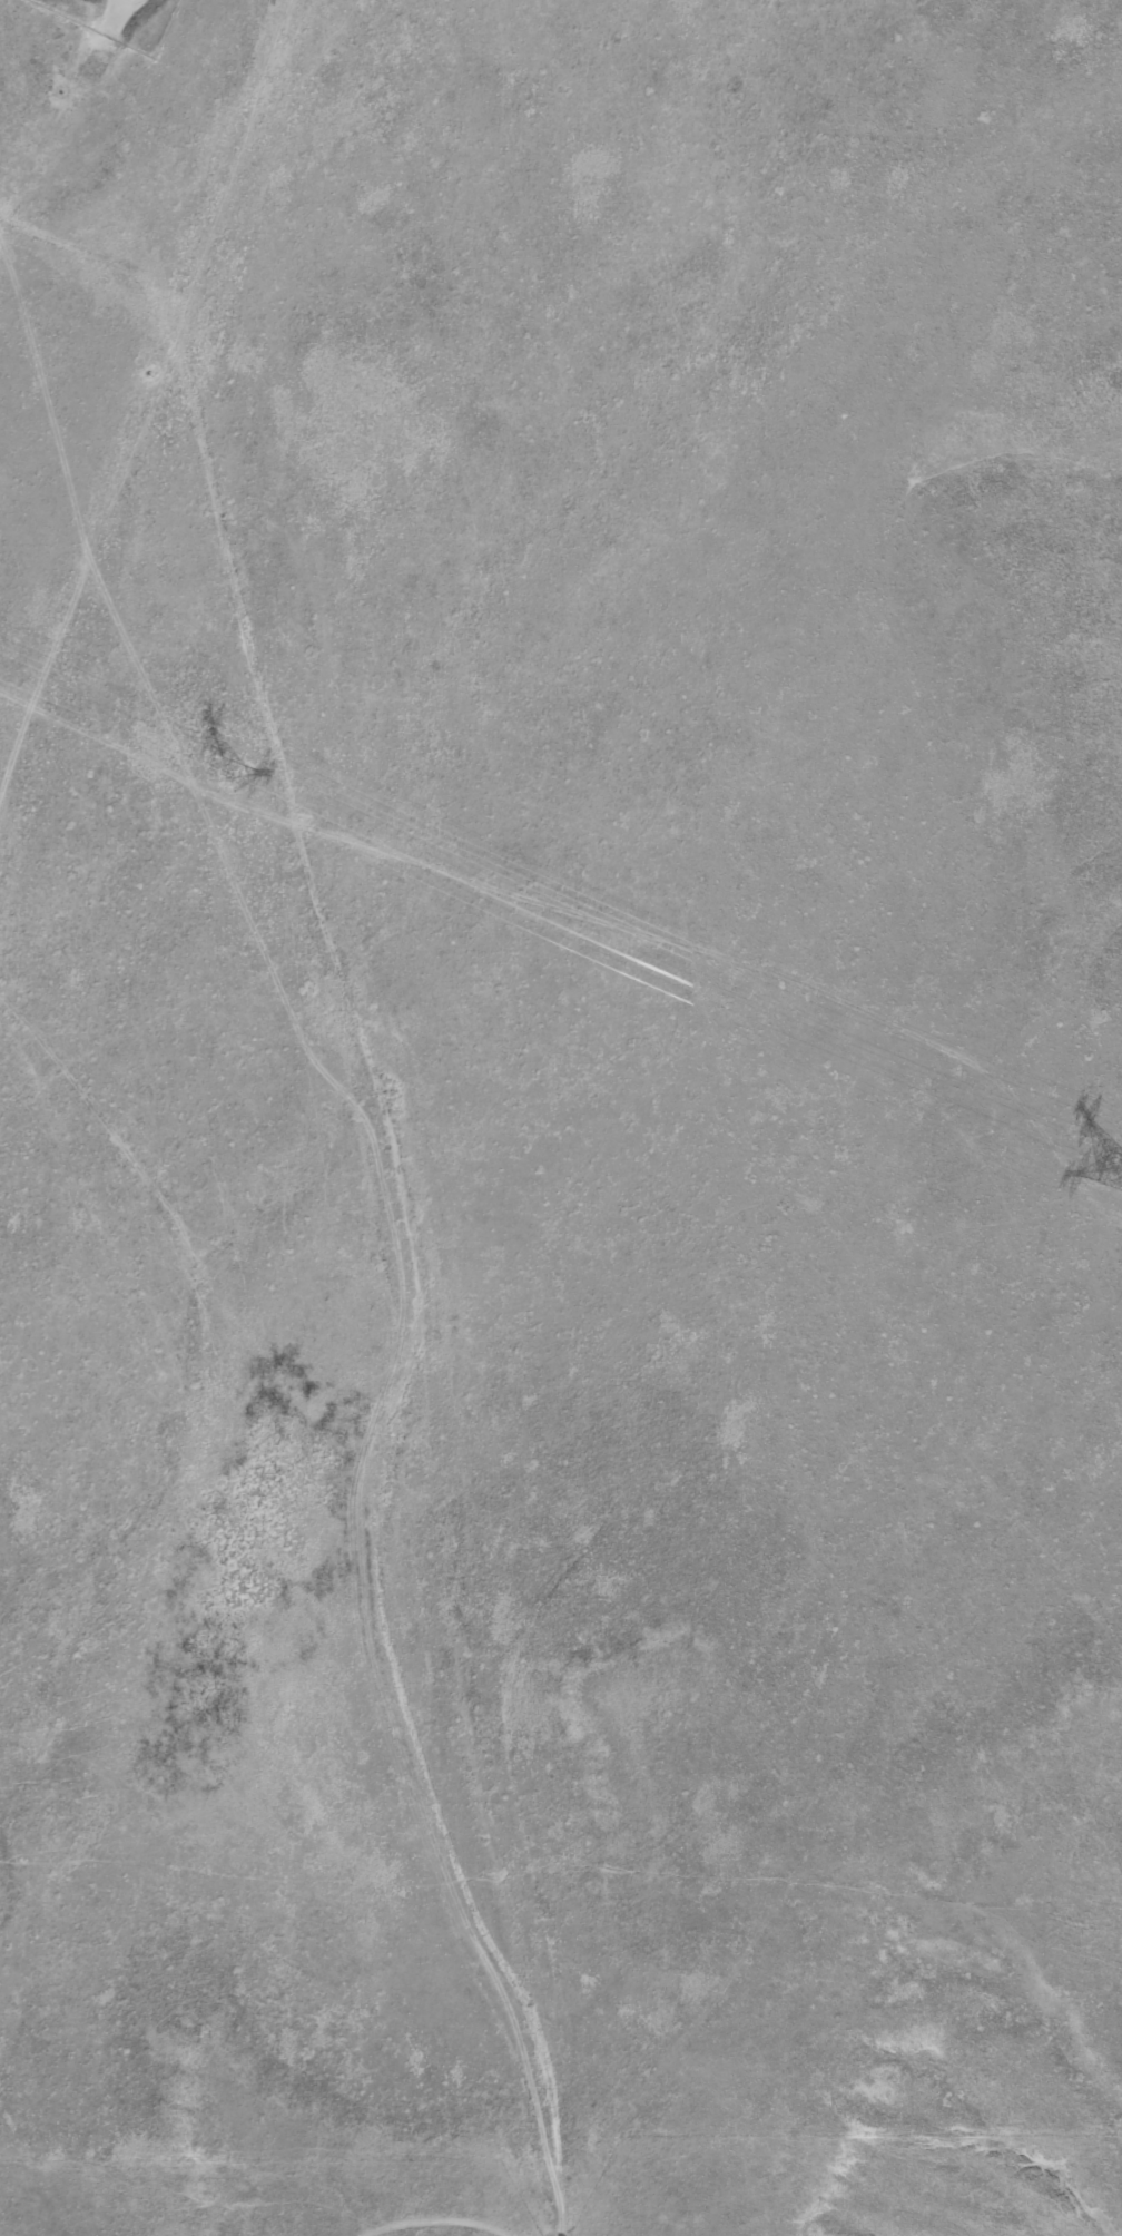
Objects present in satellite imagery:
road: (63, 135)
power tower: (227, 773)
power tower: (1120, 1176)
road: (333, 1191)
road: (402, 2234)

